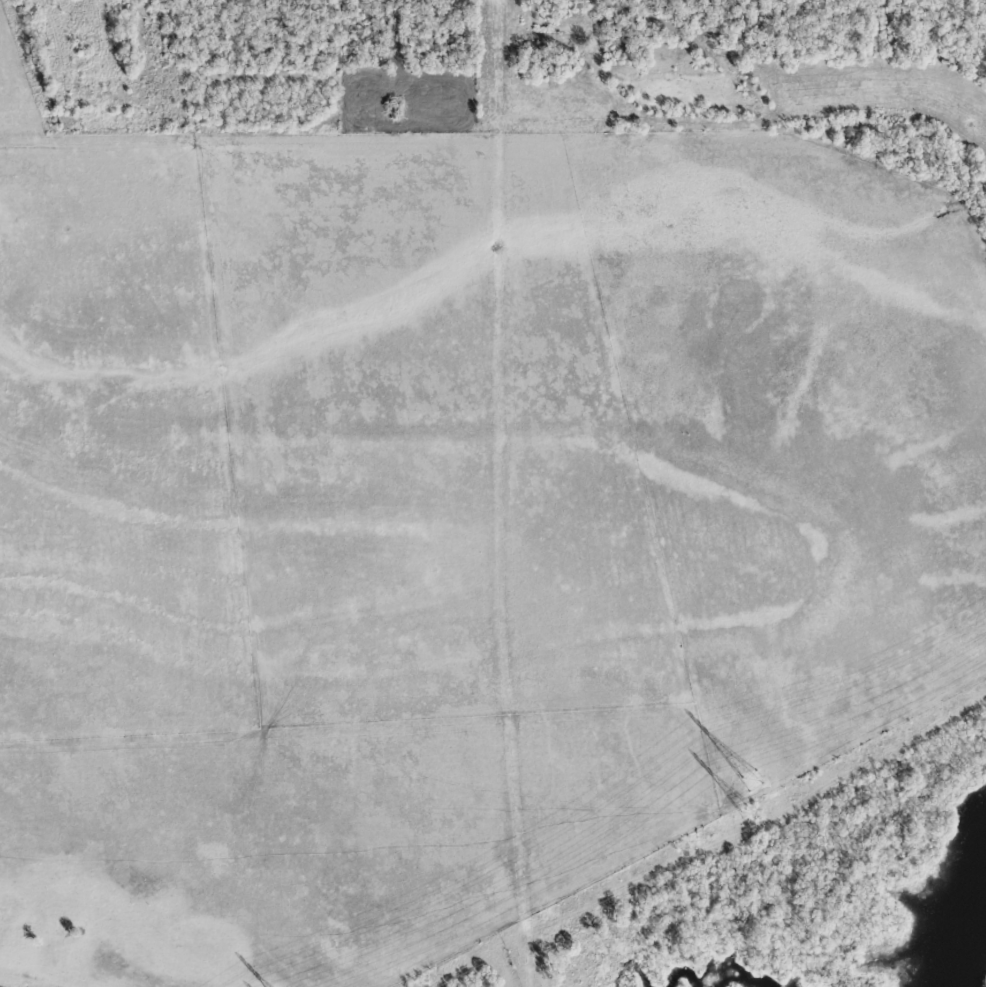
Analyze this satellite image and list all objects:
power tower: (756, 785)
power tower: (757, 815)

